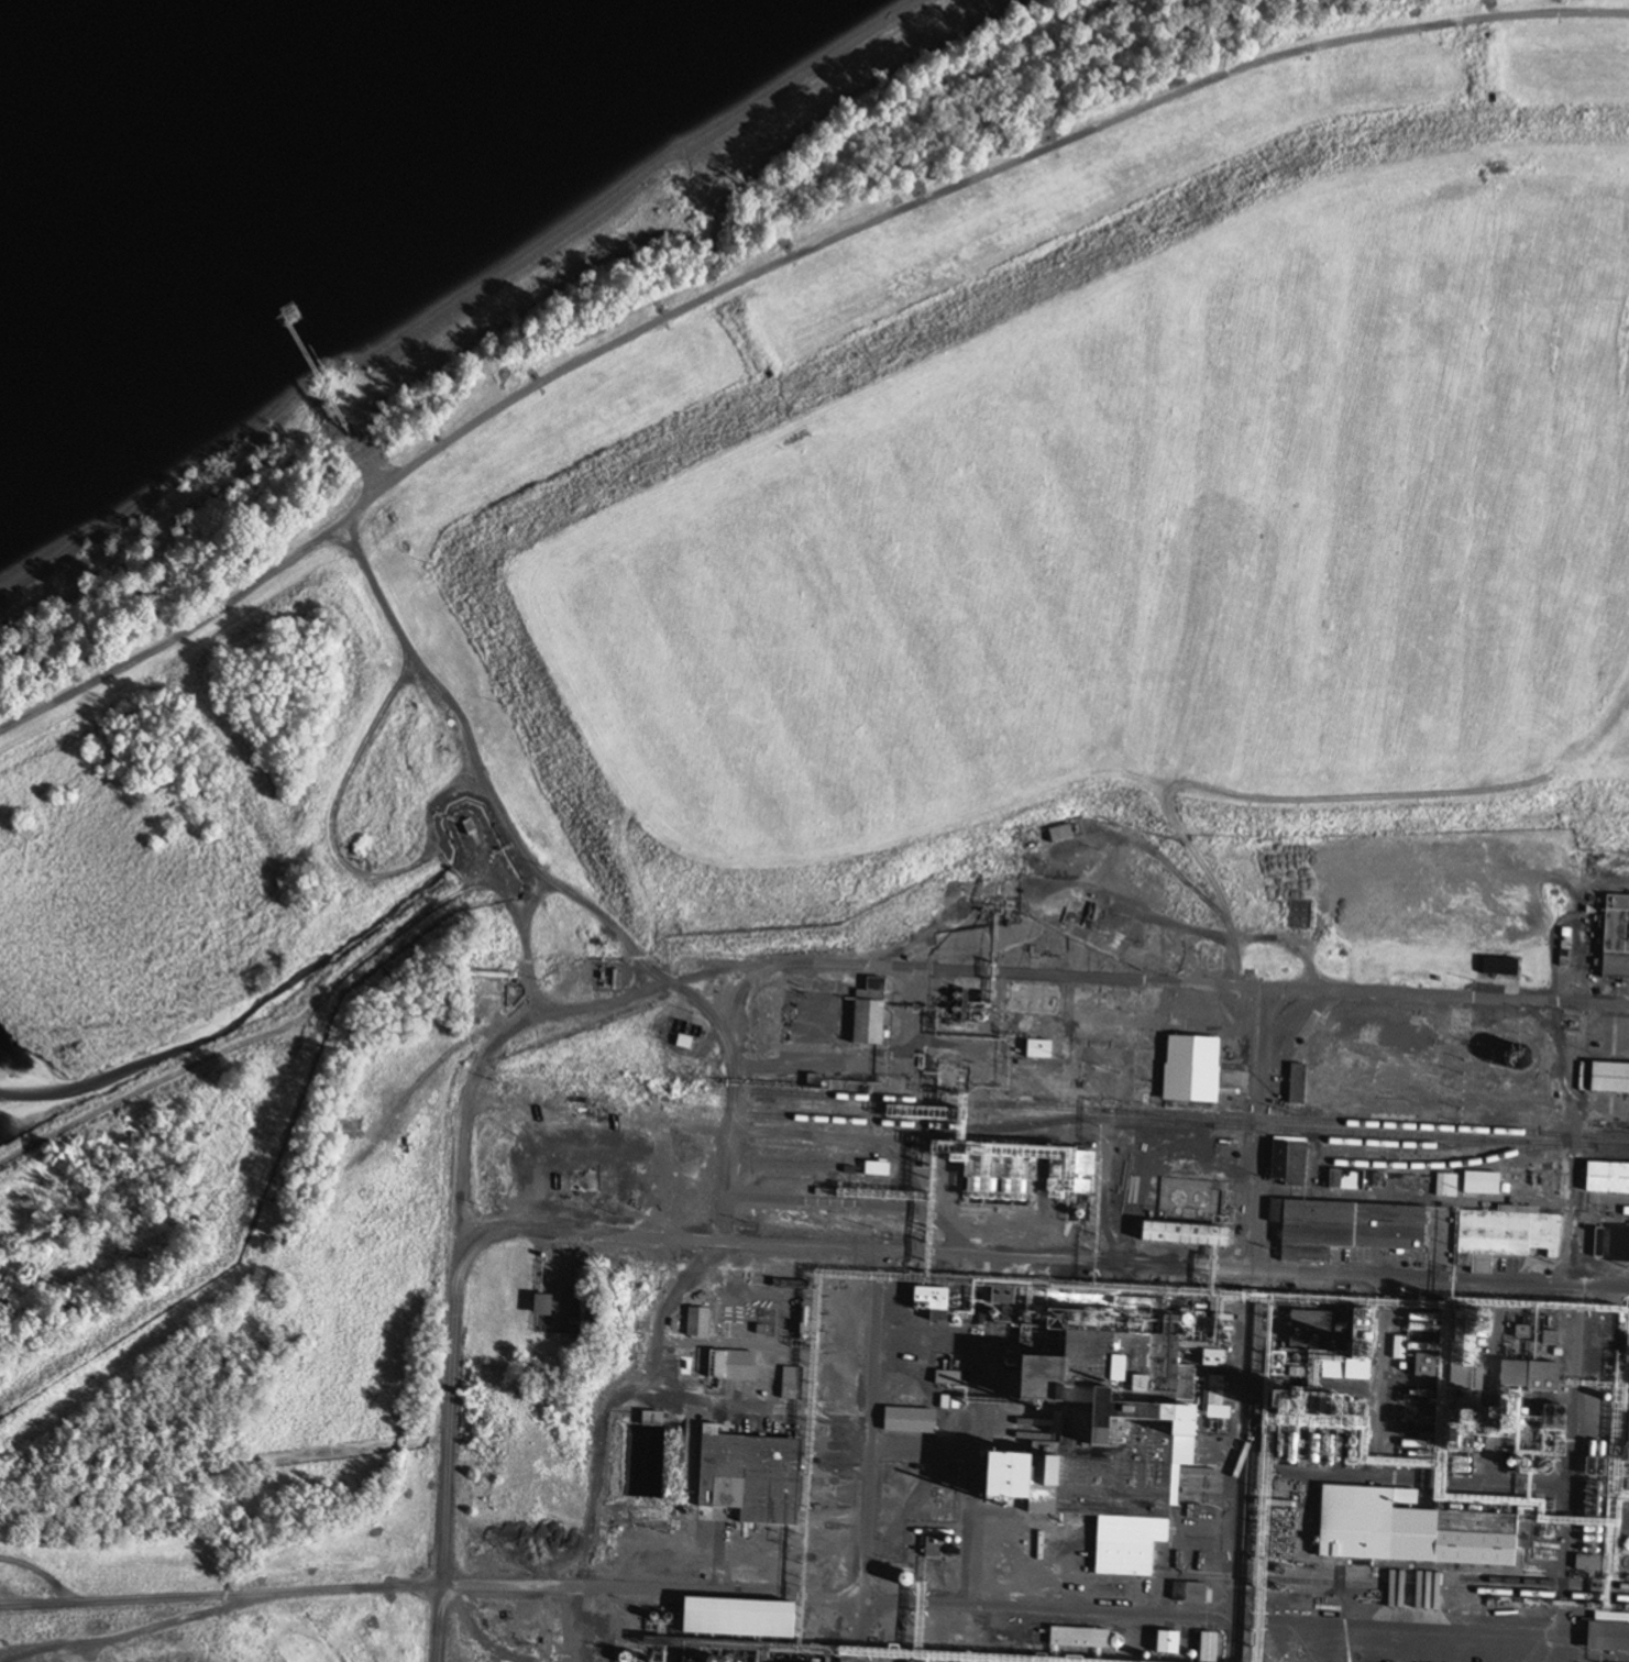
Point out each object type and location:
road: (772, 266)
building: (465, 827)
building: (1057, 834)
building: (1615, 938)
building: (1496, 968)
road: (860, 972)
building: (1030, 1001)
building: (867, 1014)
building: (682, 1043)
building: (1188, 1070)
building: (1608, 1079)
building: (1294, 1085)
railway: (1187, 1114)
railway: (1186, 1124)
building: (346, 1131)
railway: (1589, 1140)
railway: (1416, 1145)
building: (1157, 1158)
building: (1285, 1163)
railway: (1448, 1165)
building: (1080, 1174)
building: (1606, 1179)
building: (1343, 1180)
building: (580, 1182)
building: (1479, 1184)
building: (1011, 1190)
building: (1342, 1229)
road: (1255, 1230)
building: (1506, 1233)
building: (1182, 1235)
building: (1618, 1244)
road: (851, 1250)
road: (453, 1255)
road: (1441, 1281)
building: (929, 1302)
building: (539, 1307)
building: (695, 1323)
building: (1323, 1329)
building: (692, 1362)
building: (730, 1366)
building: (1540, 1376)
road: (1380, 1379)
building: (790, 1385)
road: (1490, 1385)
building: (649, 1420)
building: (906, 1422)
building: (1097, 1440)
road: (868, 1456)
building: (748, 1477)
road: (1404, 1481)
building: (1407, 1532)
road: (1239, 1547)
railway: (1542, 1583)
railway: (1446, 1588)
building: (1187, 1592)
road: (638, 1593)
building: (735, 1618)
road: (136, 1628)
building: (1075, 1637)
road: (1560, 1637)
building: (1606, 1638)
building: (1165, 1641)
building: (1206, 1643)
road: (1334, 1657)
road: (1494, 1661)

